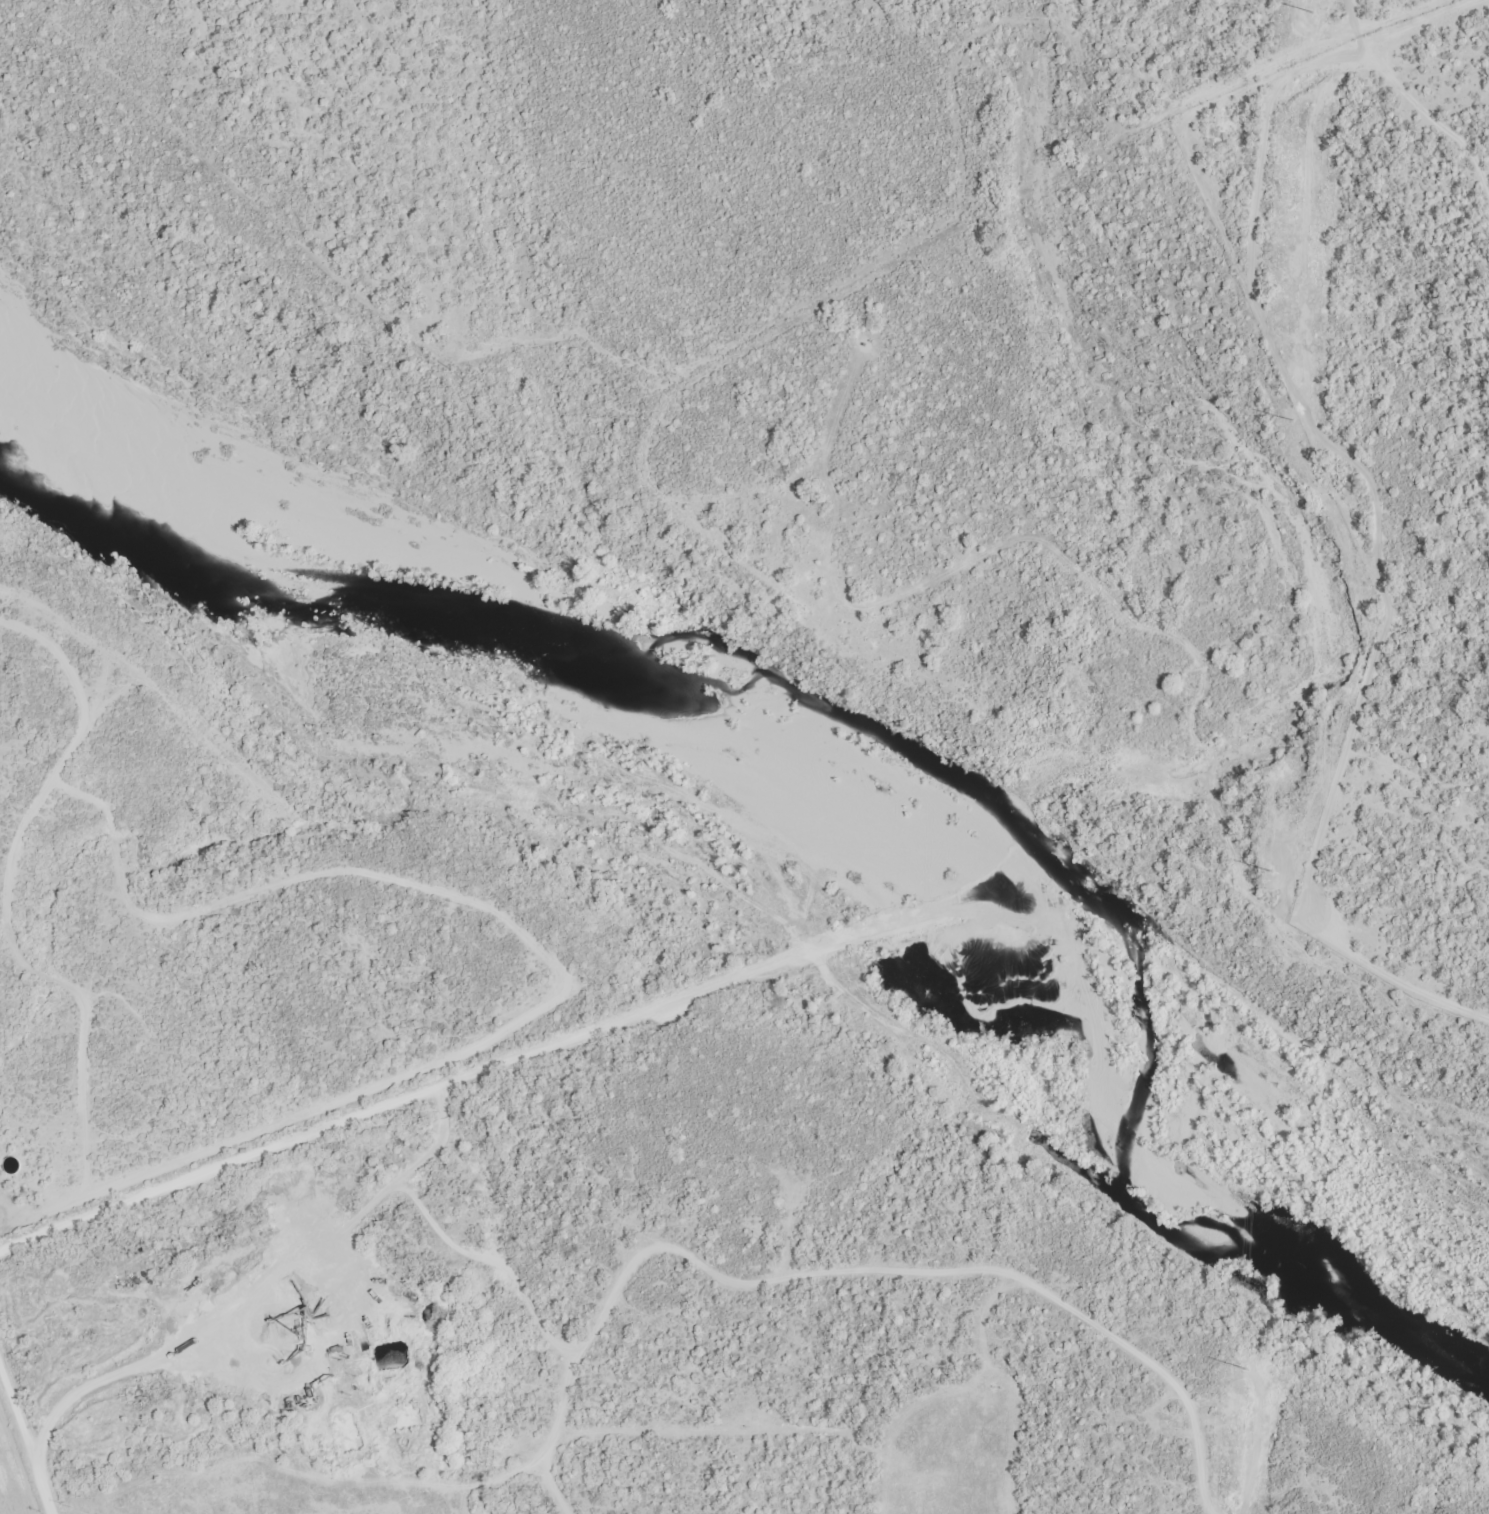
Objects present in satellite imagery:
road: (1414, 27)
road: (1306, 236)
power tower: (1298, 370)
river: (867, 727)
power tower: (1277, 859)
road: (742, 883)
road: (412, 1096)
power tower: (1248, 1398)
road: (27, 1427)

